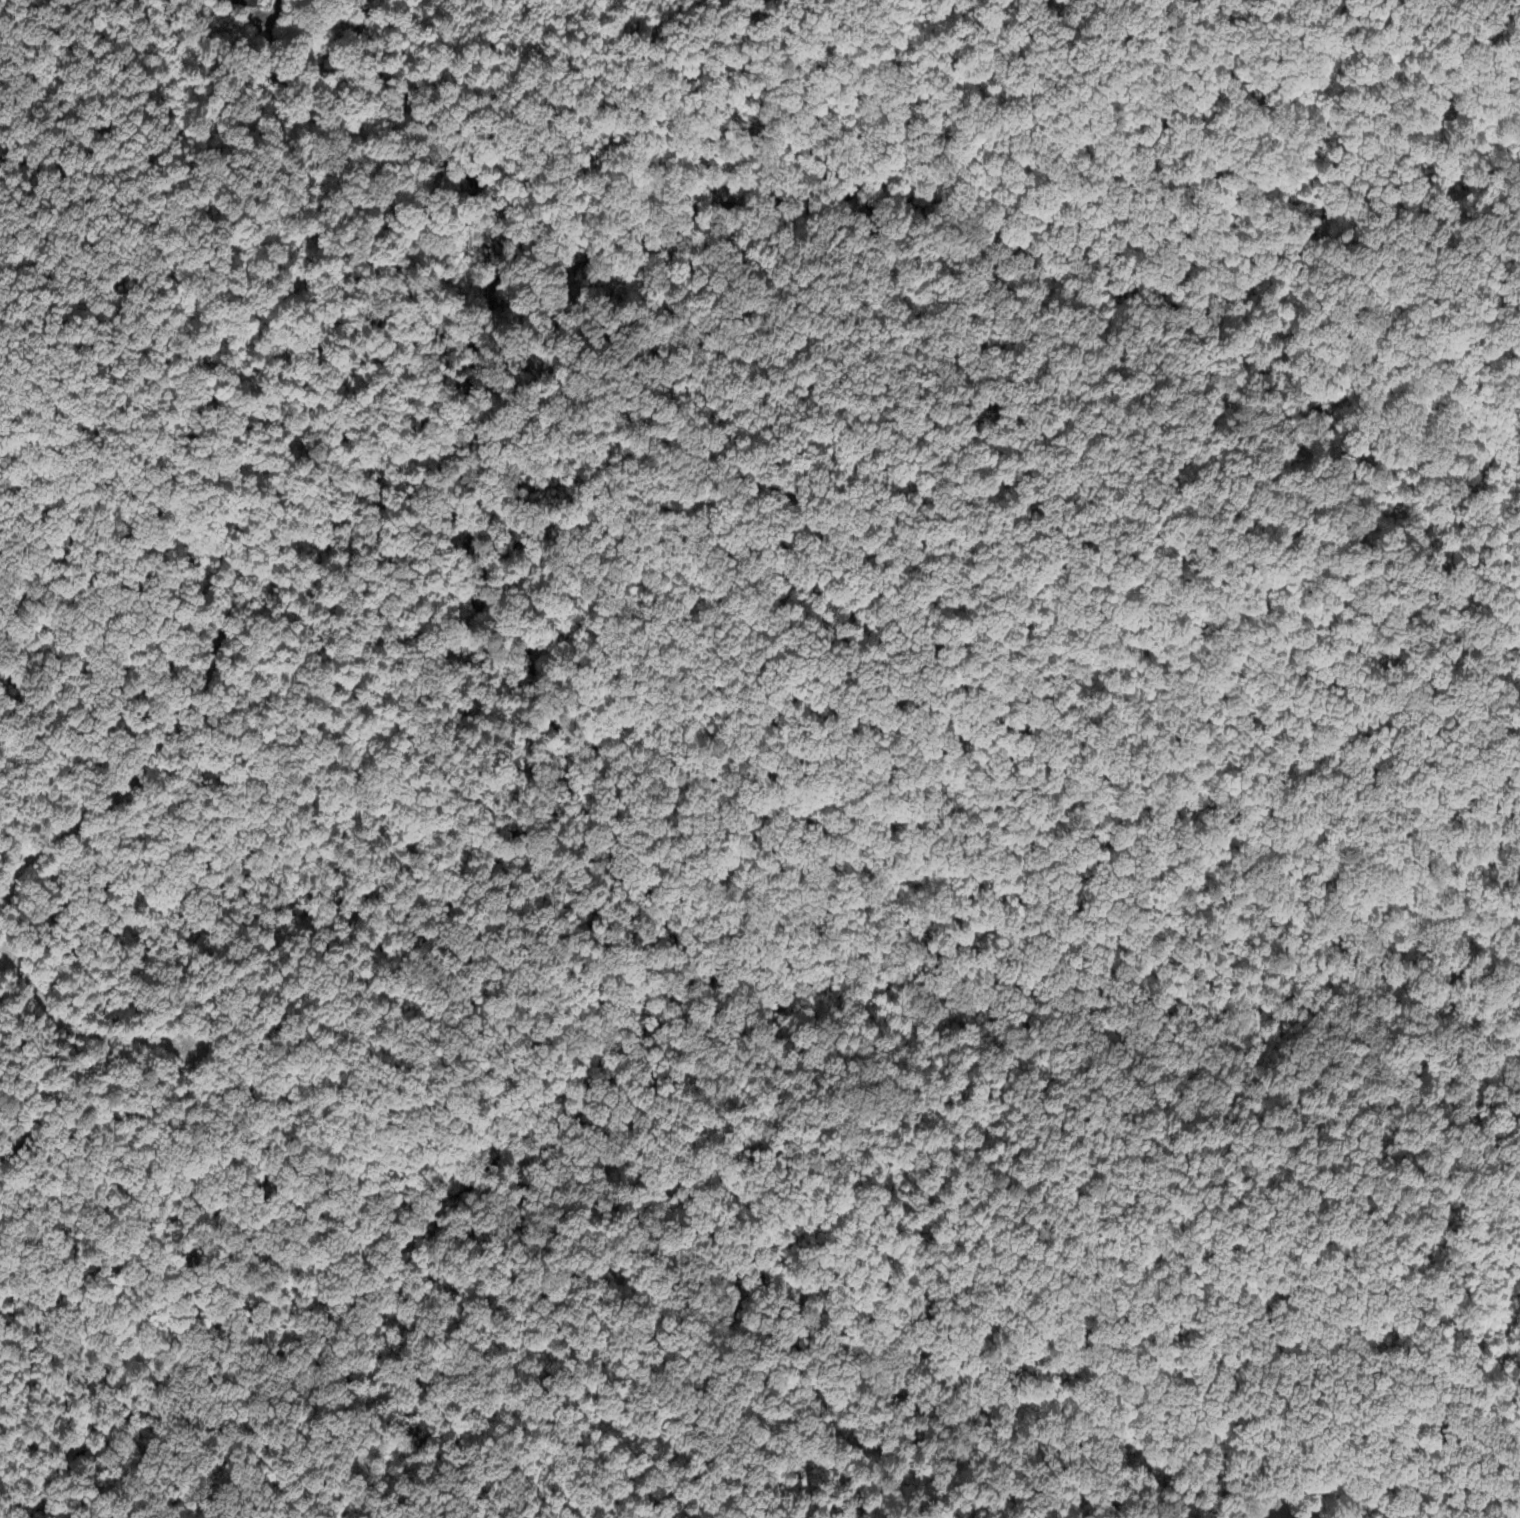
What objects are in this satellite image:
building: (241, 3)
road: (277, 11)

